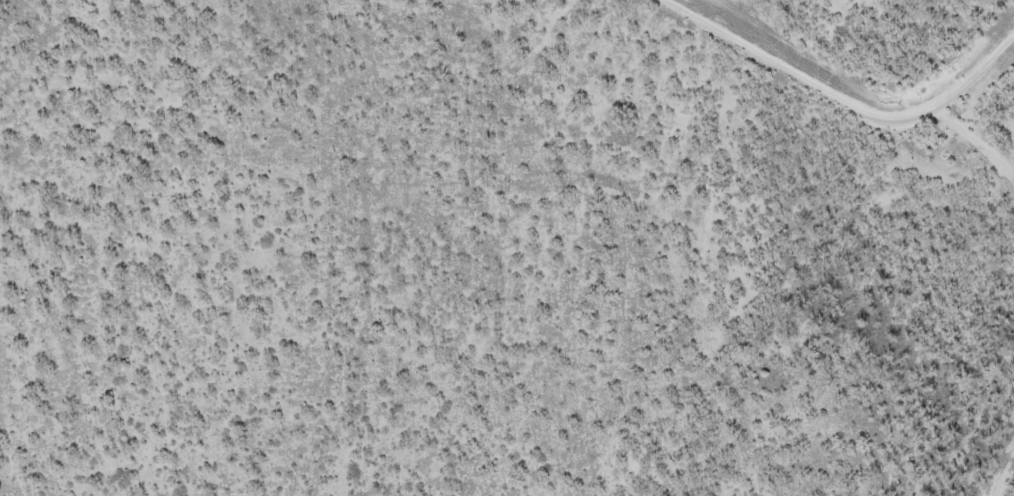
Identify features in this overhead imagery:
road: (841, 102)

